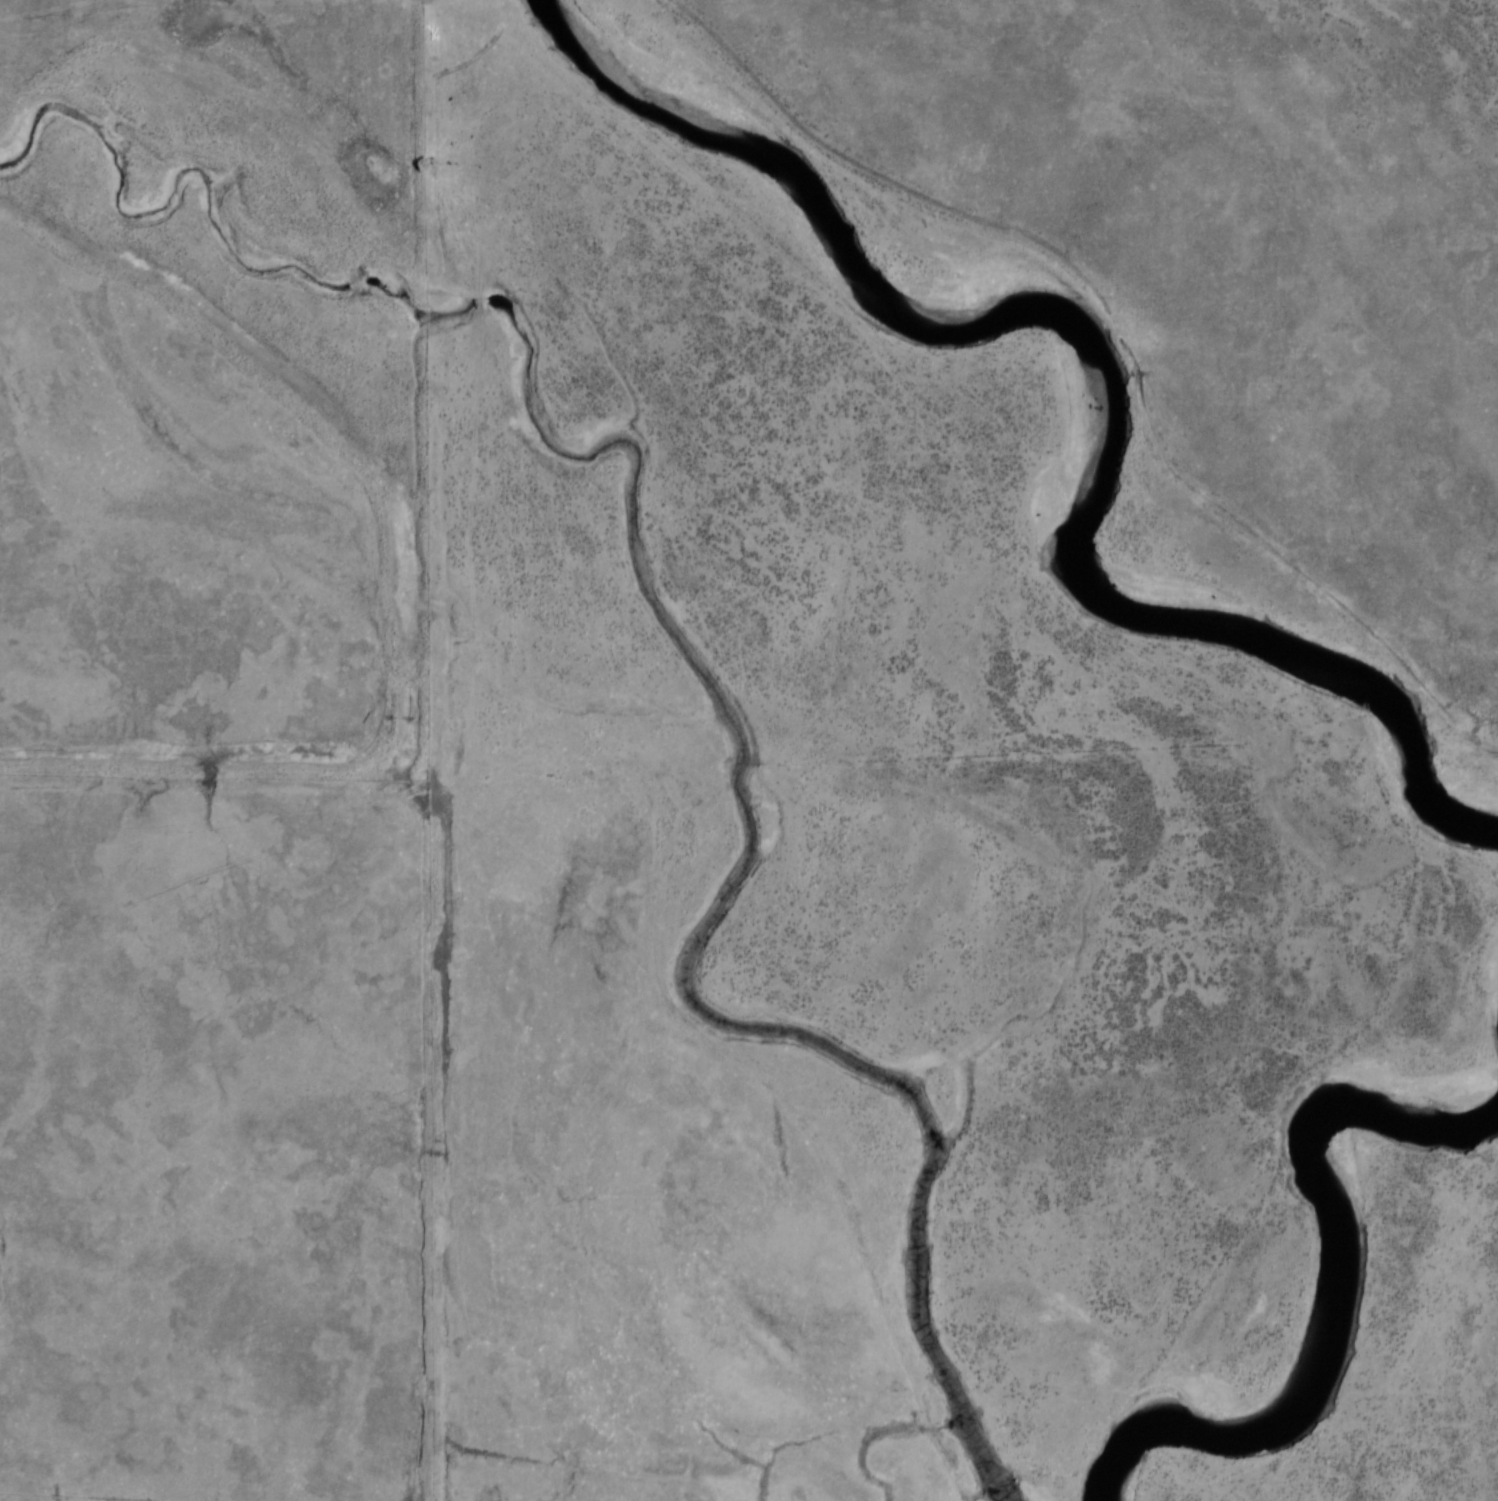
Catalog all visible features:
road: (803, 1128)

